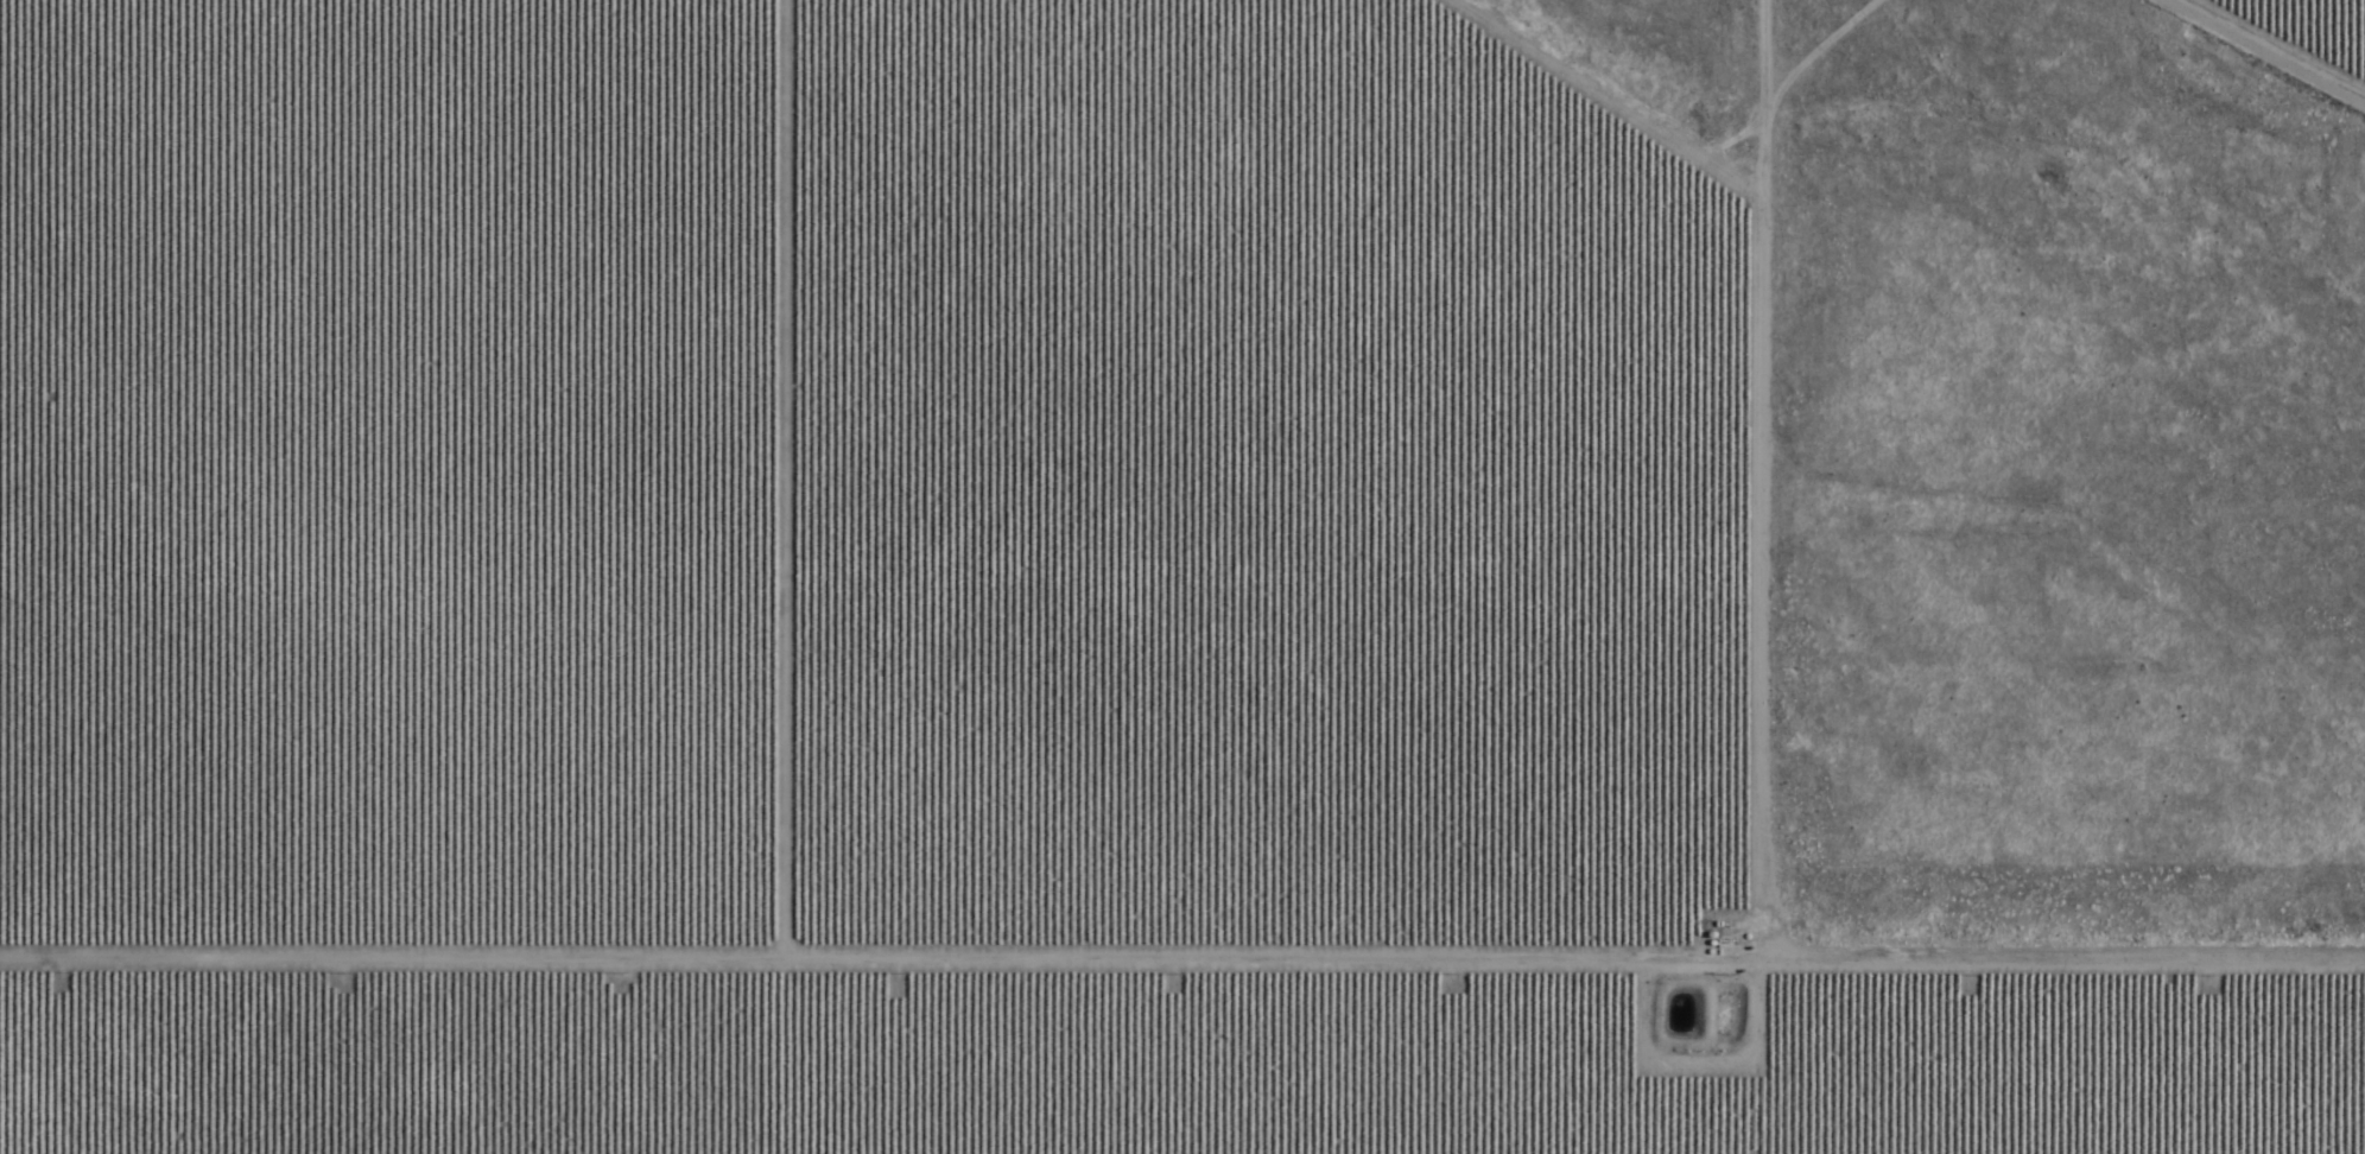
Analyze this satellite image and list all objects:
crop: (2322, 23)
road: (2247, 56)
road: (1800, 576)
crop: (939, 609)
road: (901, 899)

